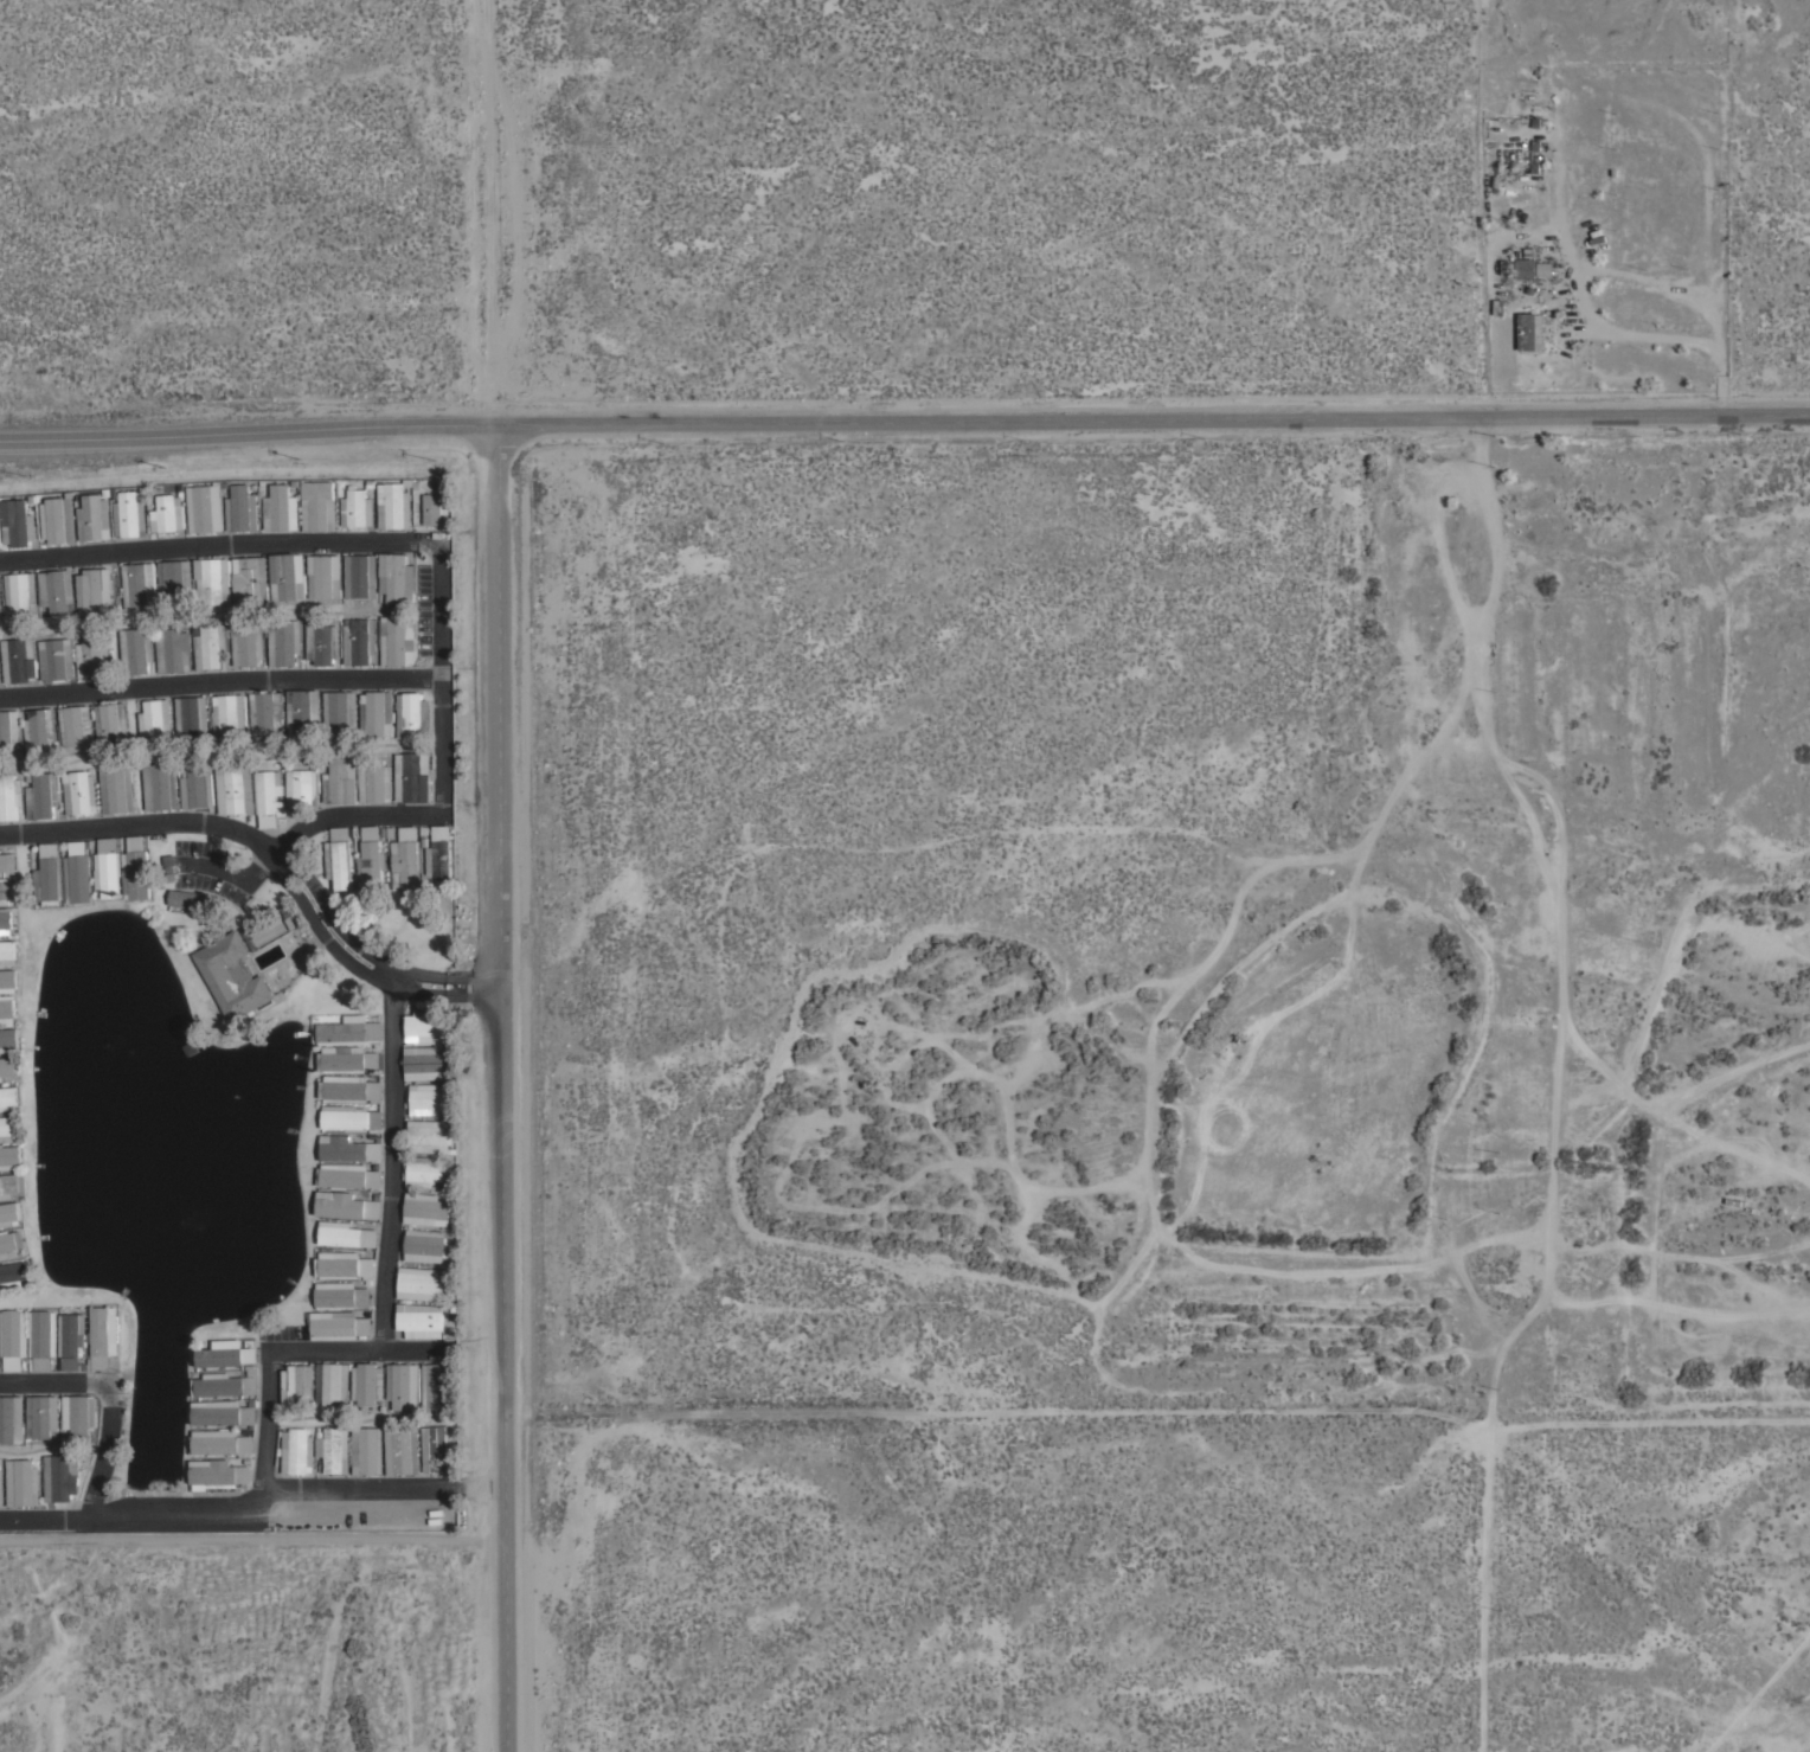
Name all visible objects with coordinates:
railway: (986, 139)
railway: (974, 142)
building: (1526, 269)
building: (1542, 269)
building: (1530, 332)
railway: (1149, 397)
railway: (1140, 403)
road: (904, 421)
building: (394, 505)
building: (319, 506)
building: (436, 507)
building: (205, 508)
building: (242, 508)
building: (281, 508)
building: (357, 508)
building: (168, 514)
building: (129, 515)
building: (58, 519)
building: (94, 519)
building: (18, 522)
building: (0, 538)
road: (439, 544)
building: (360, 576)
building: (288, 577)
building: (325, 577)
building: (397, 578)
building: (213, 580)
building: (250, 580)
building: (174, 582)
building: (139, 585)
building: (57, 590)
building: (94, 592)
building: (21, 593)
building: (0, 603)
building: (359, 641)
building: (397, 642)
building: (322, 643)
building: (248, 644)
building: (284, 644)
building: (211, 646)
building: (136, 650)
building: (173, 650)
building: (92, 654)
building: (57, 660)
building: (19, 661)
road: (222, 685)
building: (265, 710)
building: (303, 712)
building: (377, 713)
building: (340, 714)
building: (412, 715)
building: (192, 717)
building: (227, 717)
building: (111, 721)
building: (155, 721)
building: (75, 726)
building: (9, 730)
building: (40, 730)
building: (413, 778)
building: (340, 781)
building: (374, 781)
building: (161, 785)
building: (197, 787)
building: (116, 788)
building: (301, 788)
building: (235, 790)
building: (79, 792)
building: (9, 796)
building: (41, 796)
building: (268, 796)
road: (274, 852)
building: (438, 852)
building: (371, 856)
building: (339, 859)
building: (406, 859)
building: (7, 862)
building: (168, 862)
building: (108, 867)
building: (136, 868)
building: (78, 872)
road: (231, 874)
building: (50, 875)
building: (7, 892)
building: (187, 899)
building: (5, 922)
building: (272, 930)
building: (8, 952)
building: (232, 976)
building: (8, 981)
railway: (1519, 986)
railway: (1514, 1000)
building: (7, 1009)
building: (428, 1025)
building: (349, 1032)
building: (9, 1040)
building: (347, 1060)
building: (426, 1064)
building: (7, 1067)
road: (498, 1086)
building: (351, 1089)
building: (7, 1097)
building: (429, 1099)
building: (352, 1119)
building: (8, 1129)
building: (430, 1136)
building: (348, 1149)
building: (9, 1157)
building: (424, 1172)
building: (348, 1176)
building: (11, 1185)
building: (346, 1205)
building: (425, 1209)
building: (11, 1213)
building: (346, 1234)
building: (9, 1244)
building: (424, 1246)
building: (344, 1266)
building: (13, 1275)
building: (421, 1284)
building: (340, 1296)
building: (419, 1320)
building: (338, 1324)
building: (71, 1336)
building: (102, 1337)
building: (13, 1340)
building: (43, 1340)
road: (418, 1352)
building: (227, 1356)
building: (70, 1363)
building: (367, 1384)
building: (223, 1386)
building: (297, 1386)
building: (335, 1386)
building: (404, 1386)
building: (438, 1386)
road: (268, 1403)
building: (222, 1414)
building: (41, 1417)
building: (78, 1417)
building: (11, 1419)
building: (220, 1444)
building: (438, 1449)
building: (297, 1451)
building: (332, 1451)
building: (367, 1451)
building: (402, 1451)
building: (217, 1475)
building: (60, 1477)
building: (21, 1483)
building: (0, 1485)
road: (381, 1489)
road: (43, 1521)
road: (1496, 1591)

